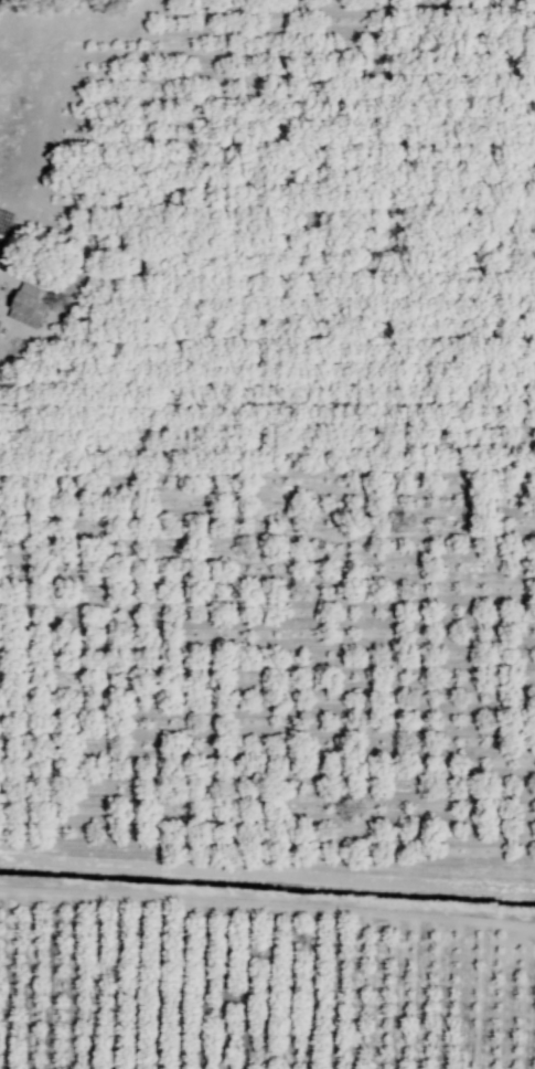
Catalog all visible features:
building: (28, 307)

